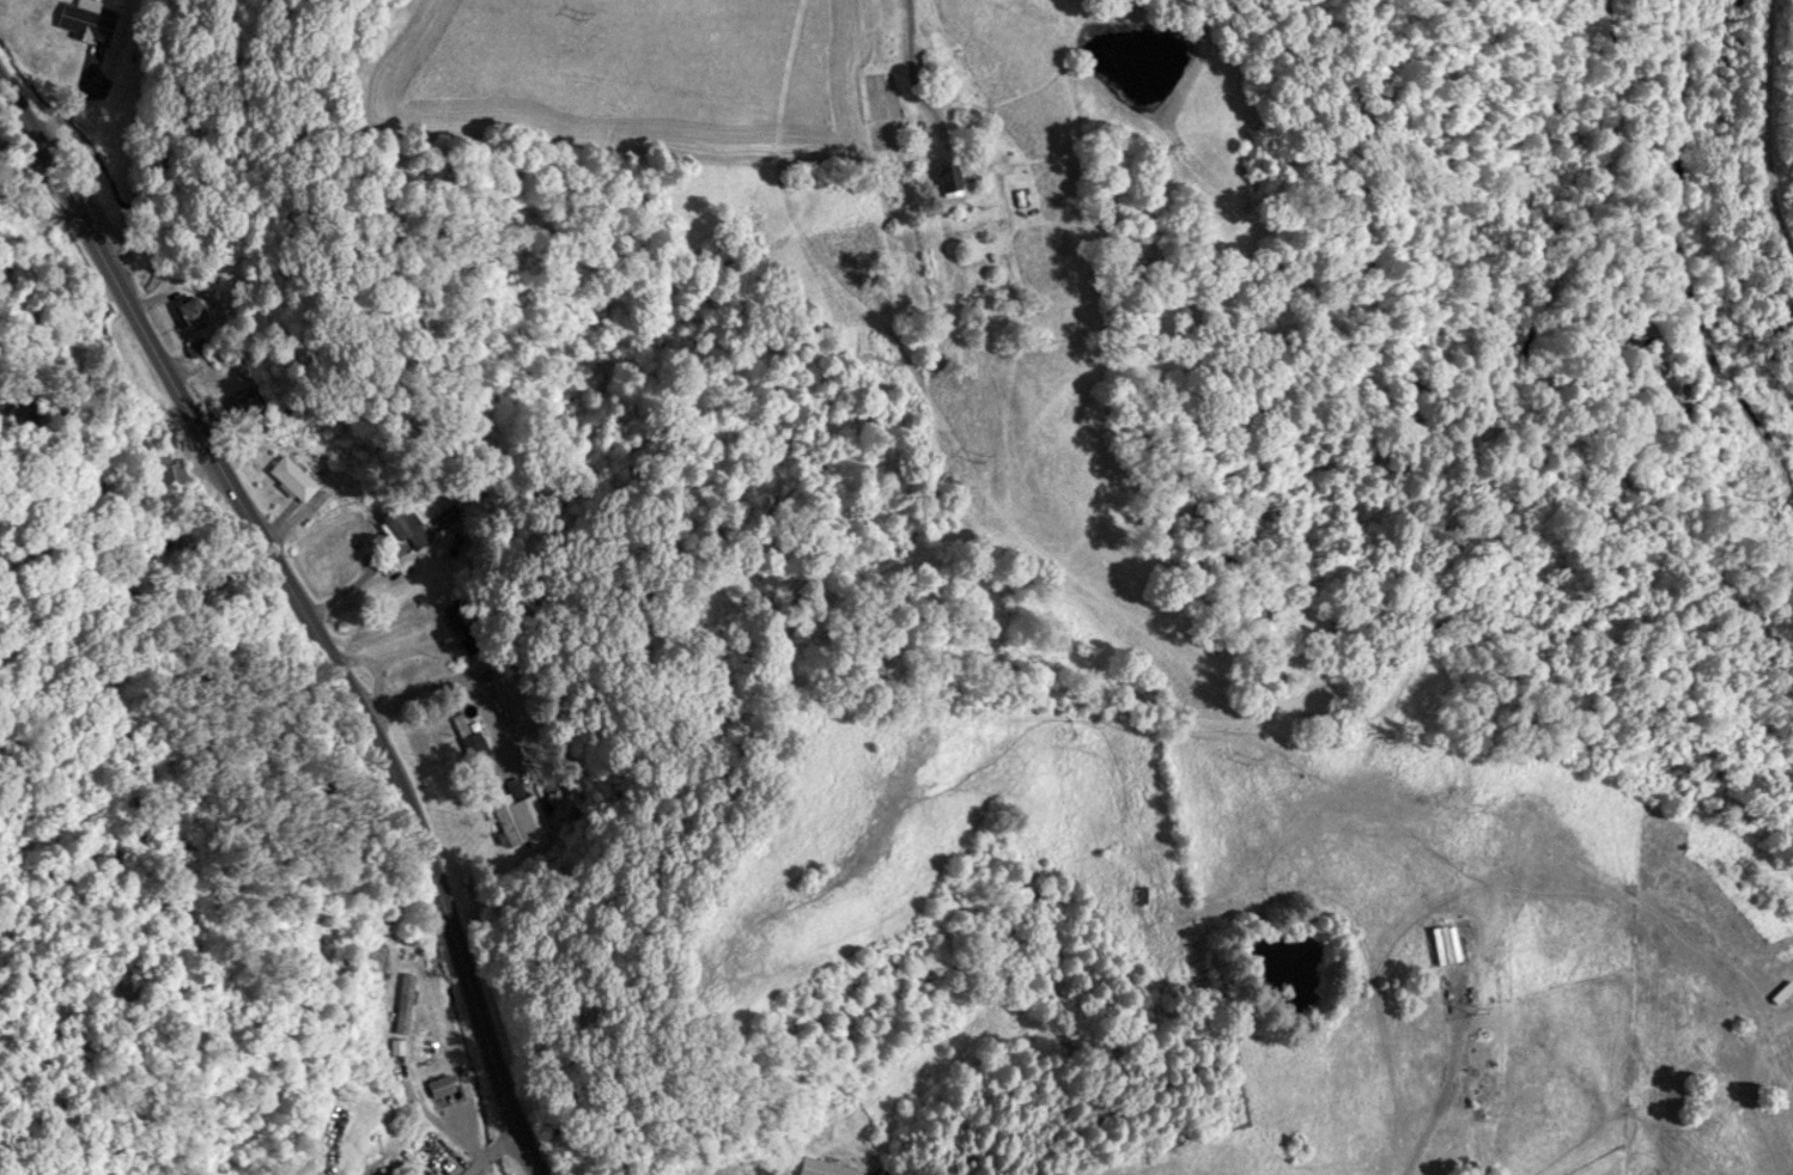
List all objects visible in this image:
building: (86, 18)
road: (209, 128)
building: (944, 178)
building: (1138, 269)
building: (187, 310)
road: (1502, 391)
building: (244, 404)
building: (163, 467)
building: (291, 476)
building: (403, 526)
building: (451, 611)
road: (305, 614)
road: (1627, 662)
building: (474, 747)
building: (517, 812)
building: (1440, 945)
building: (1779, 993)
building: (401, 1003)
building: (437, 1151)
road: (493, 1153)
building: (823, 1167)
building: (378, 1173)

